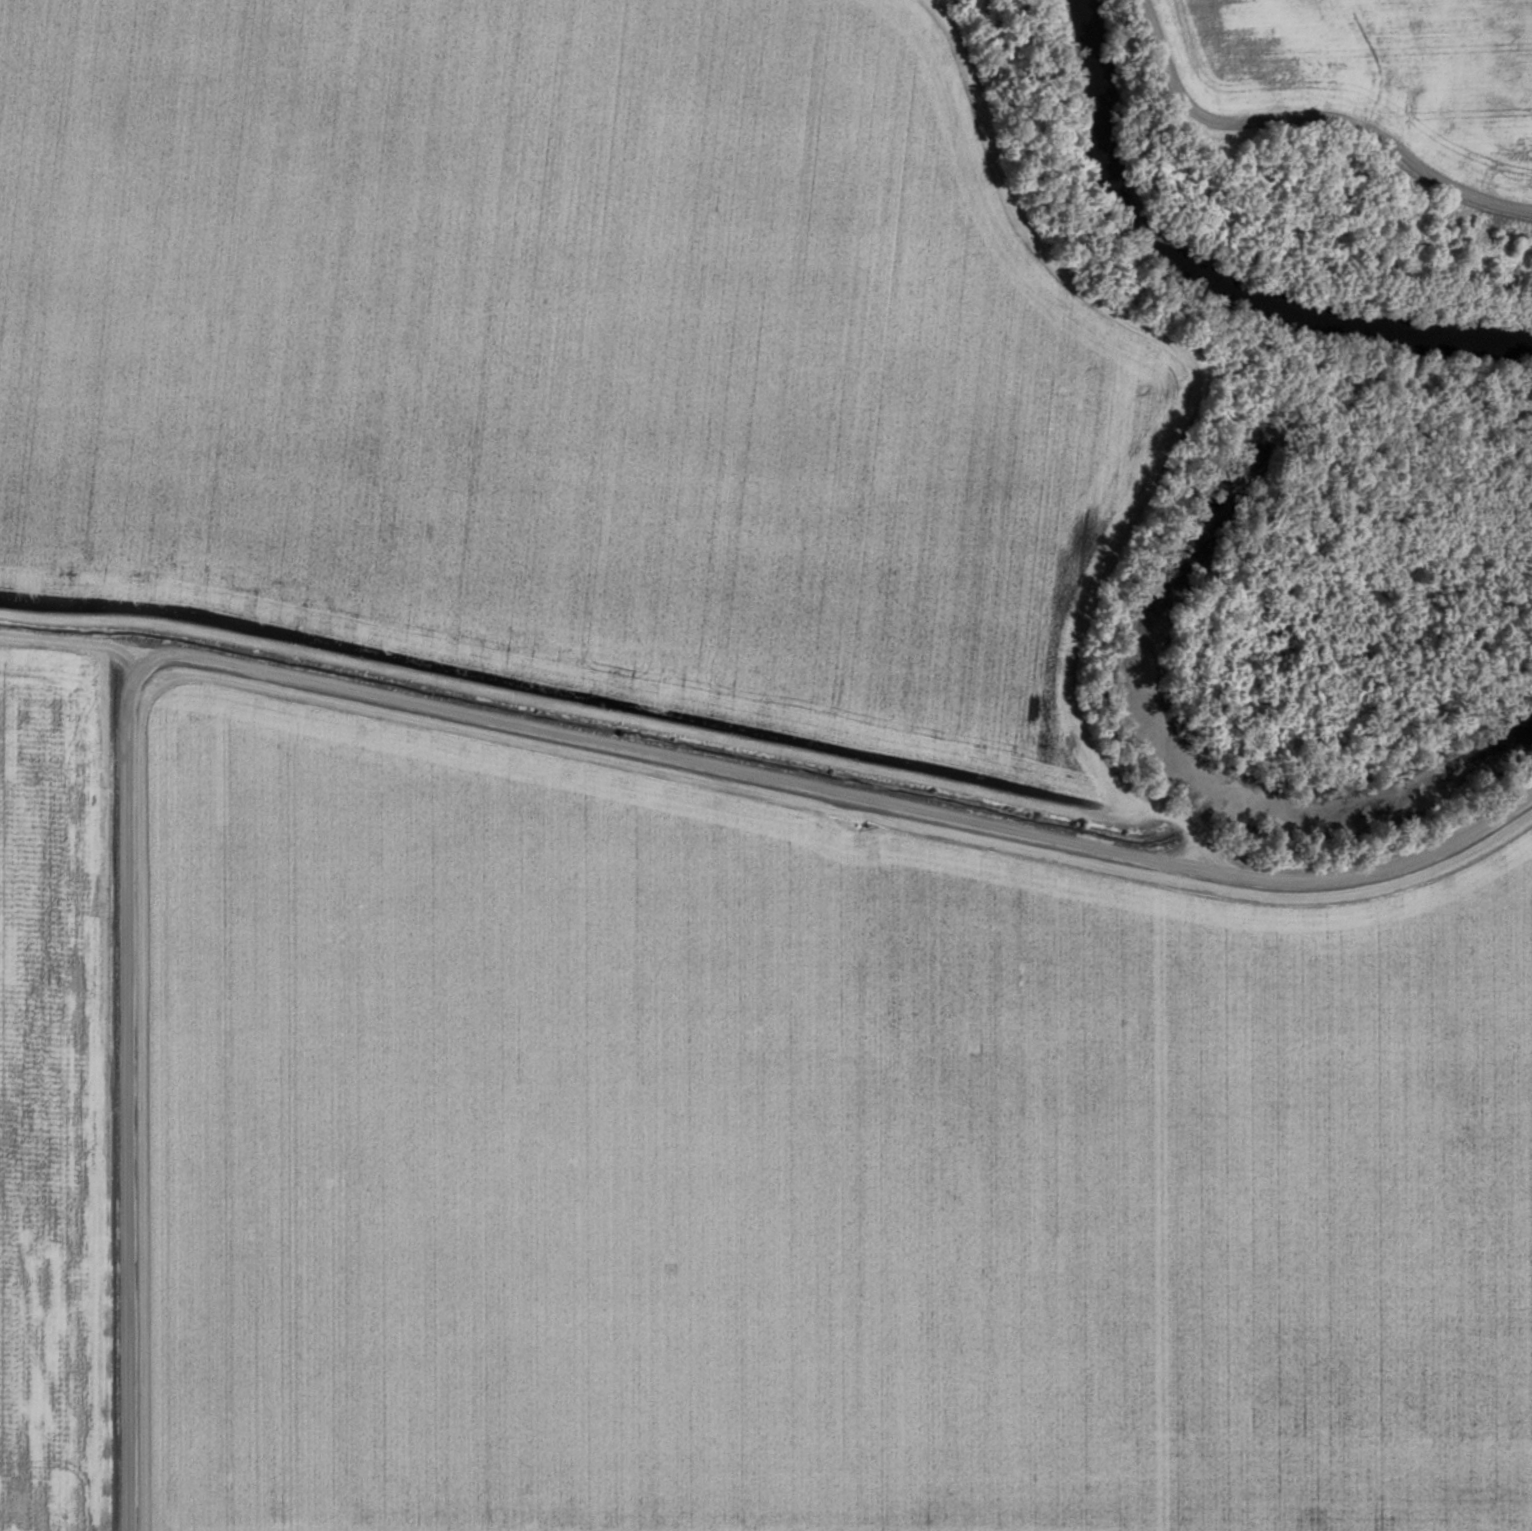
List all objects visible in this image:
road: (420, 705)

